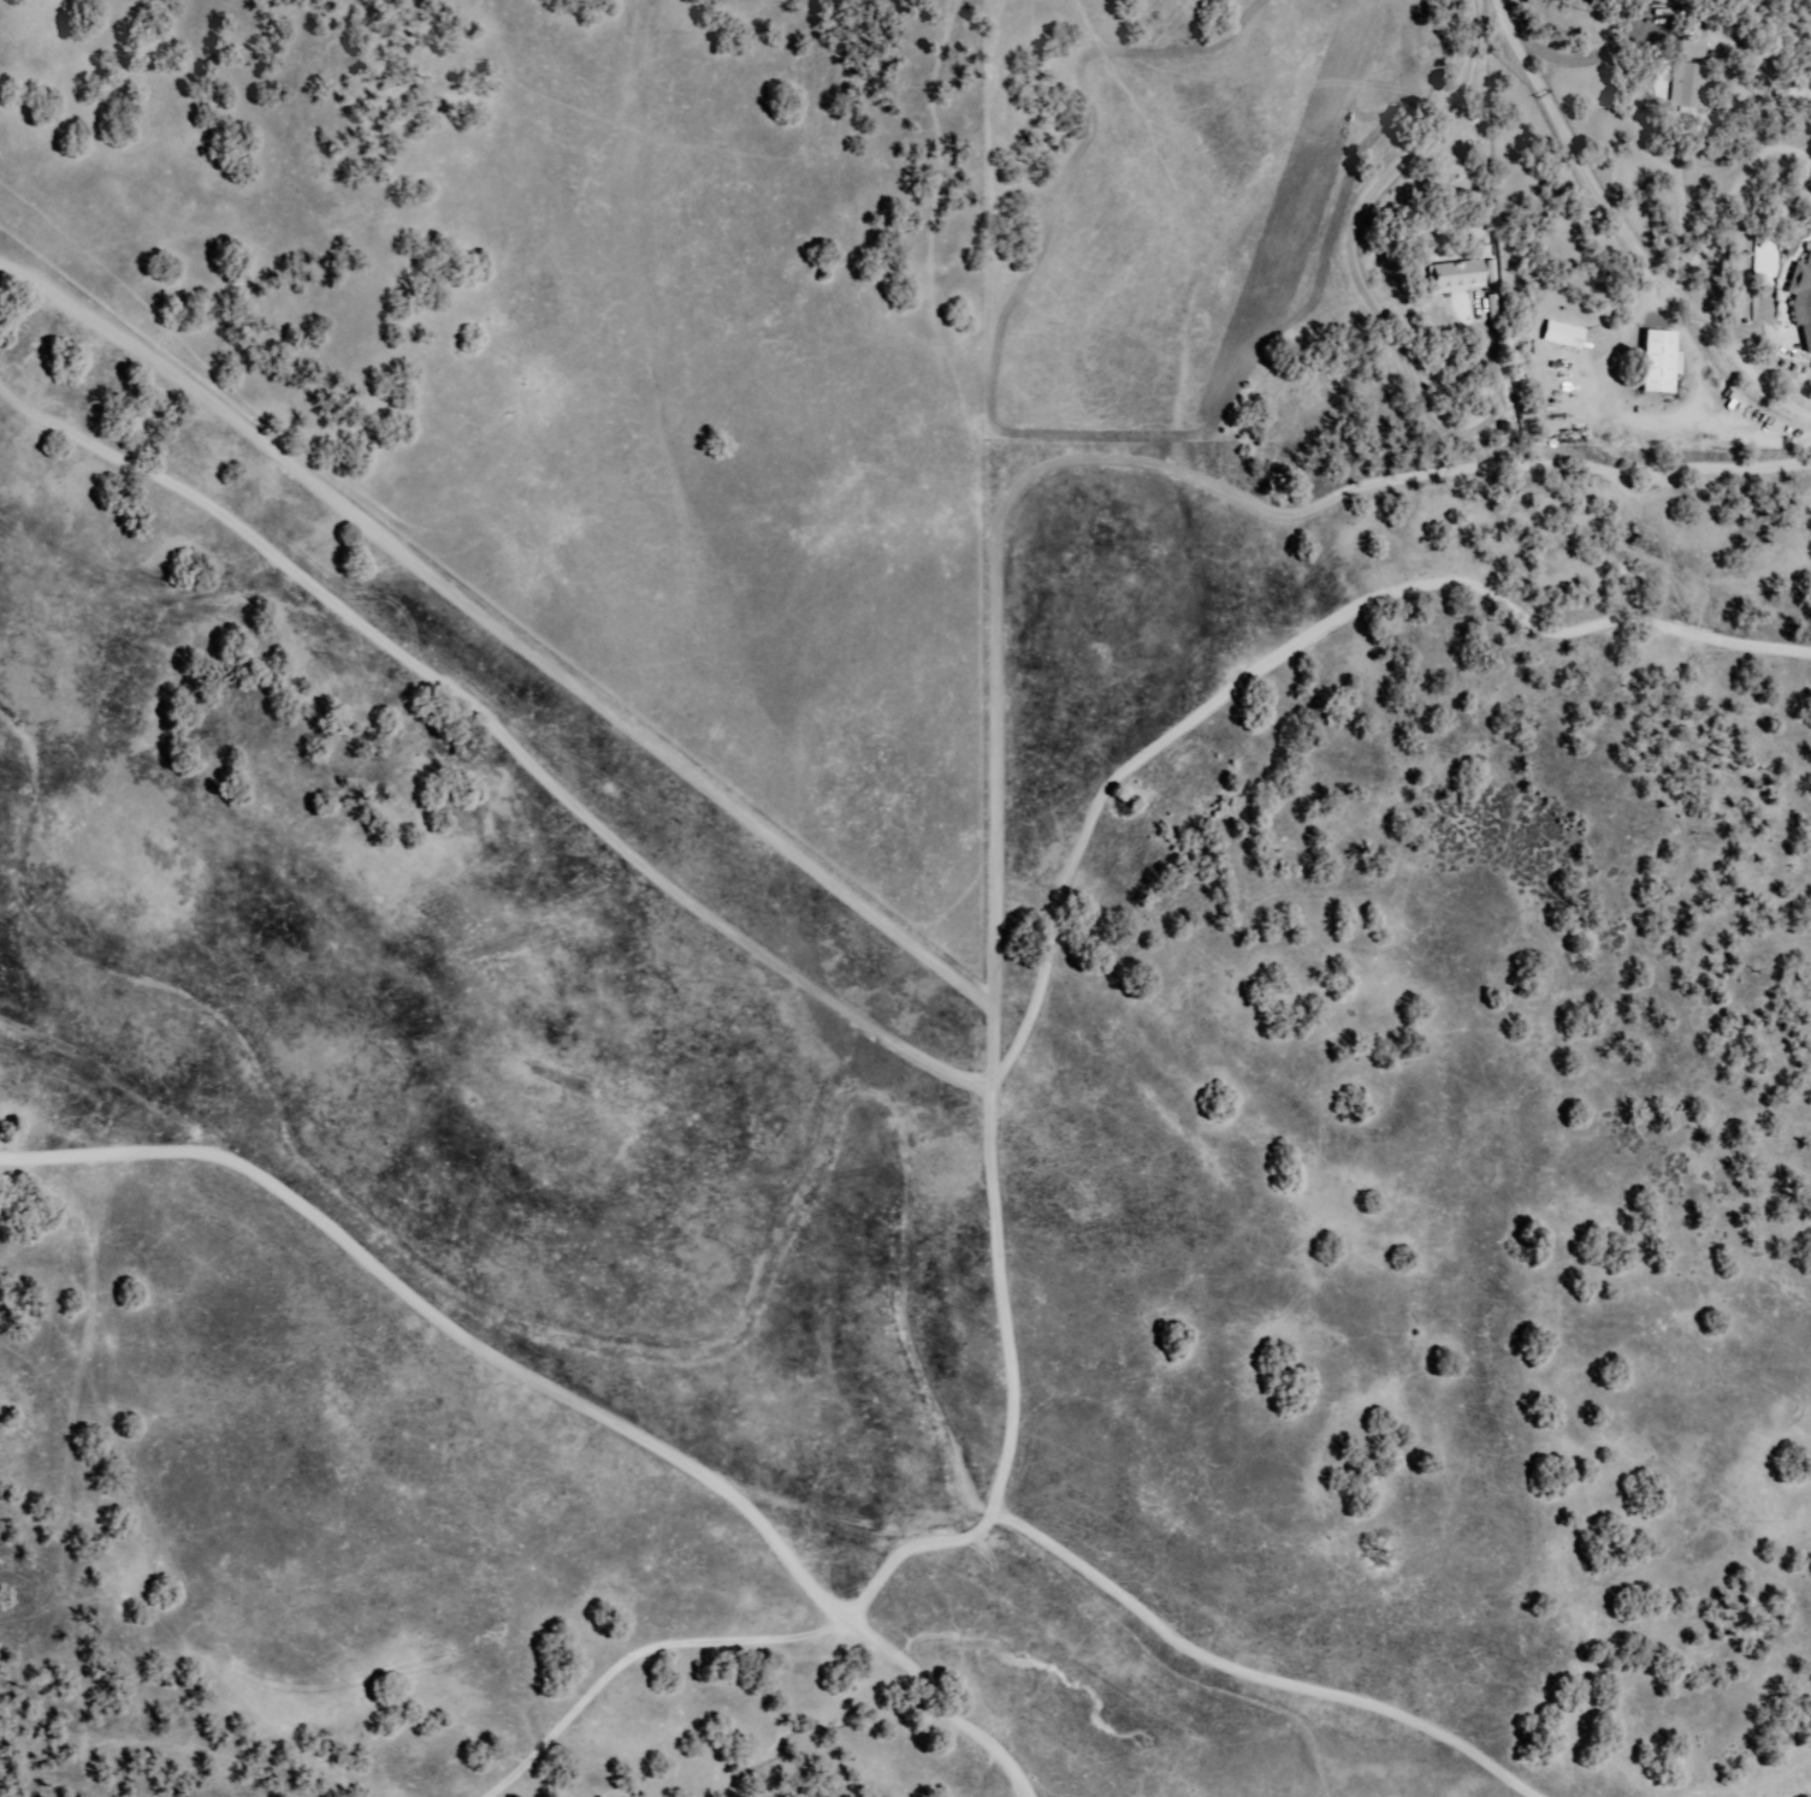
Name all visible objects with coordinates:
building: (1687, 48)
building: (1682, 88)
building: (1454, 279)
building: (1800, 299)
building: (1557, 336)
building: (1652, 362)
road: (457, 671)
road: (1100, 758)
road: (55, 1108)
road: (902, 1181)
road: (327, 1235)
road: (446, 1305)
road: (752, 1558)
road: (822, 1674)

